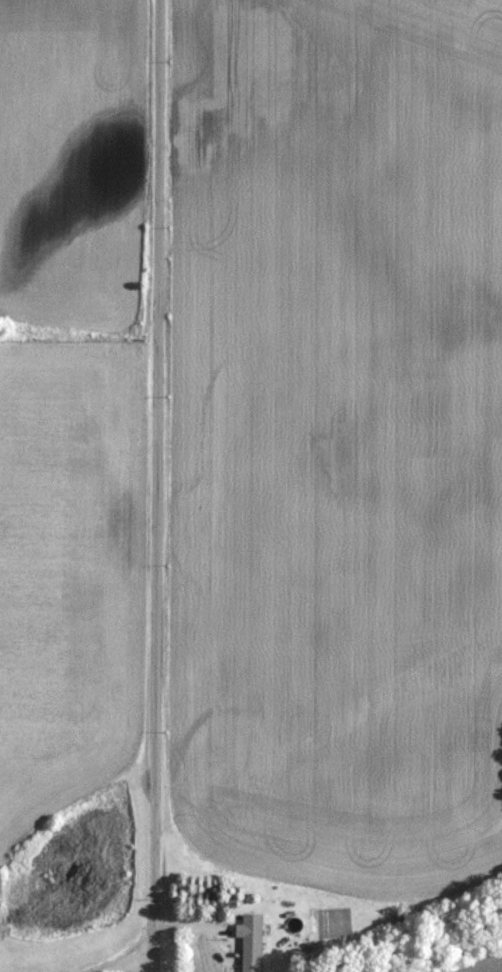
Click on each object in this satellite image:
road: (156, 486)
building: (248, 942)

